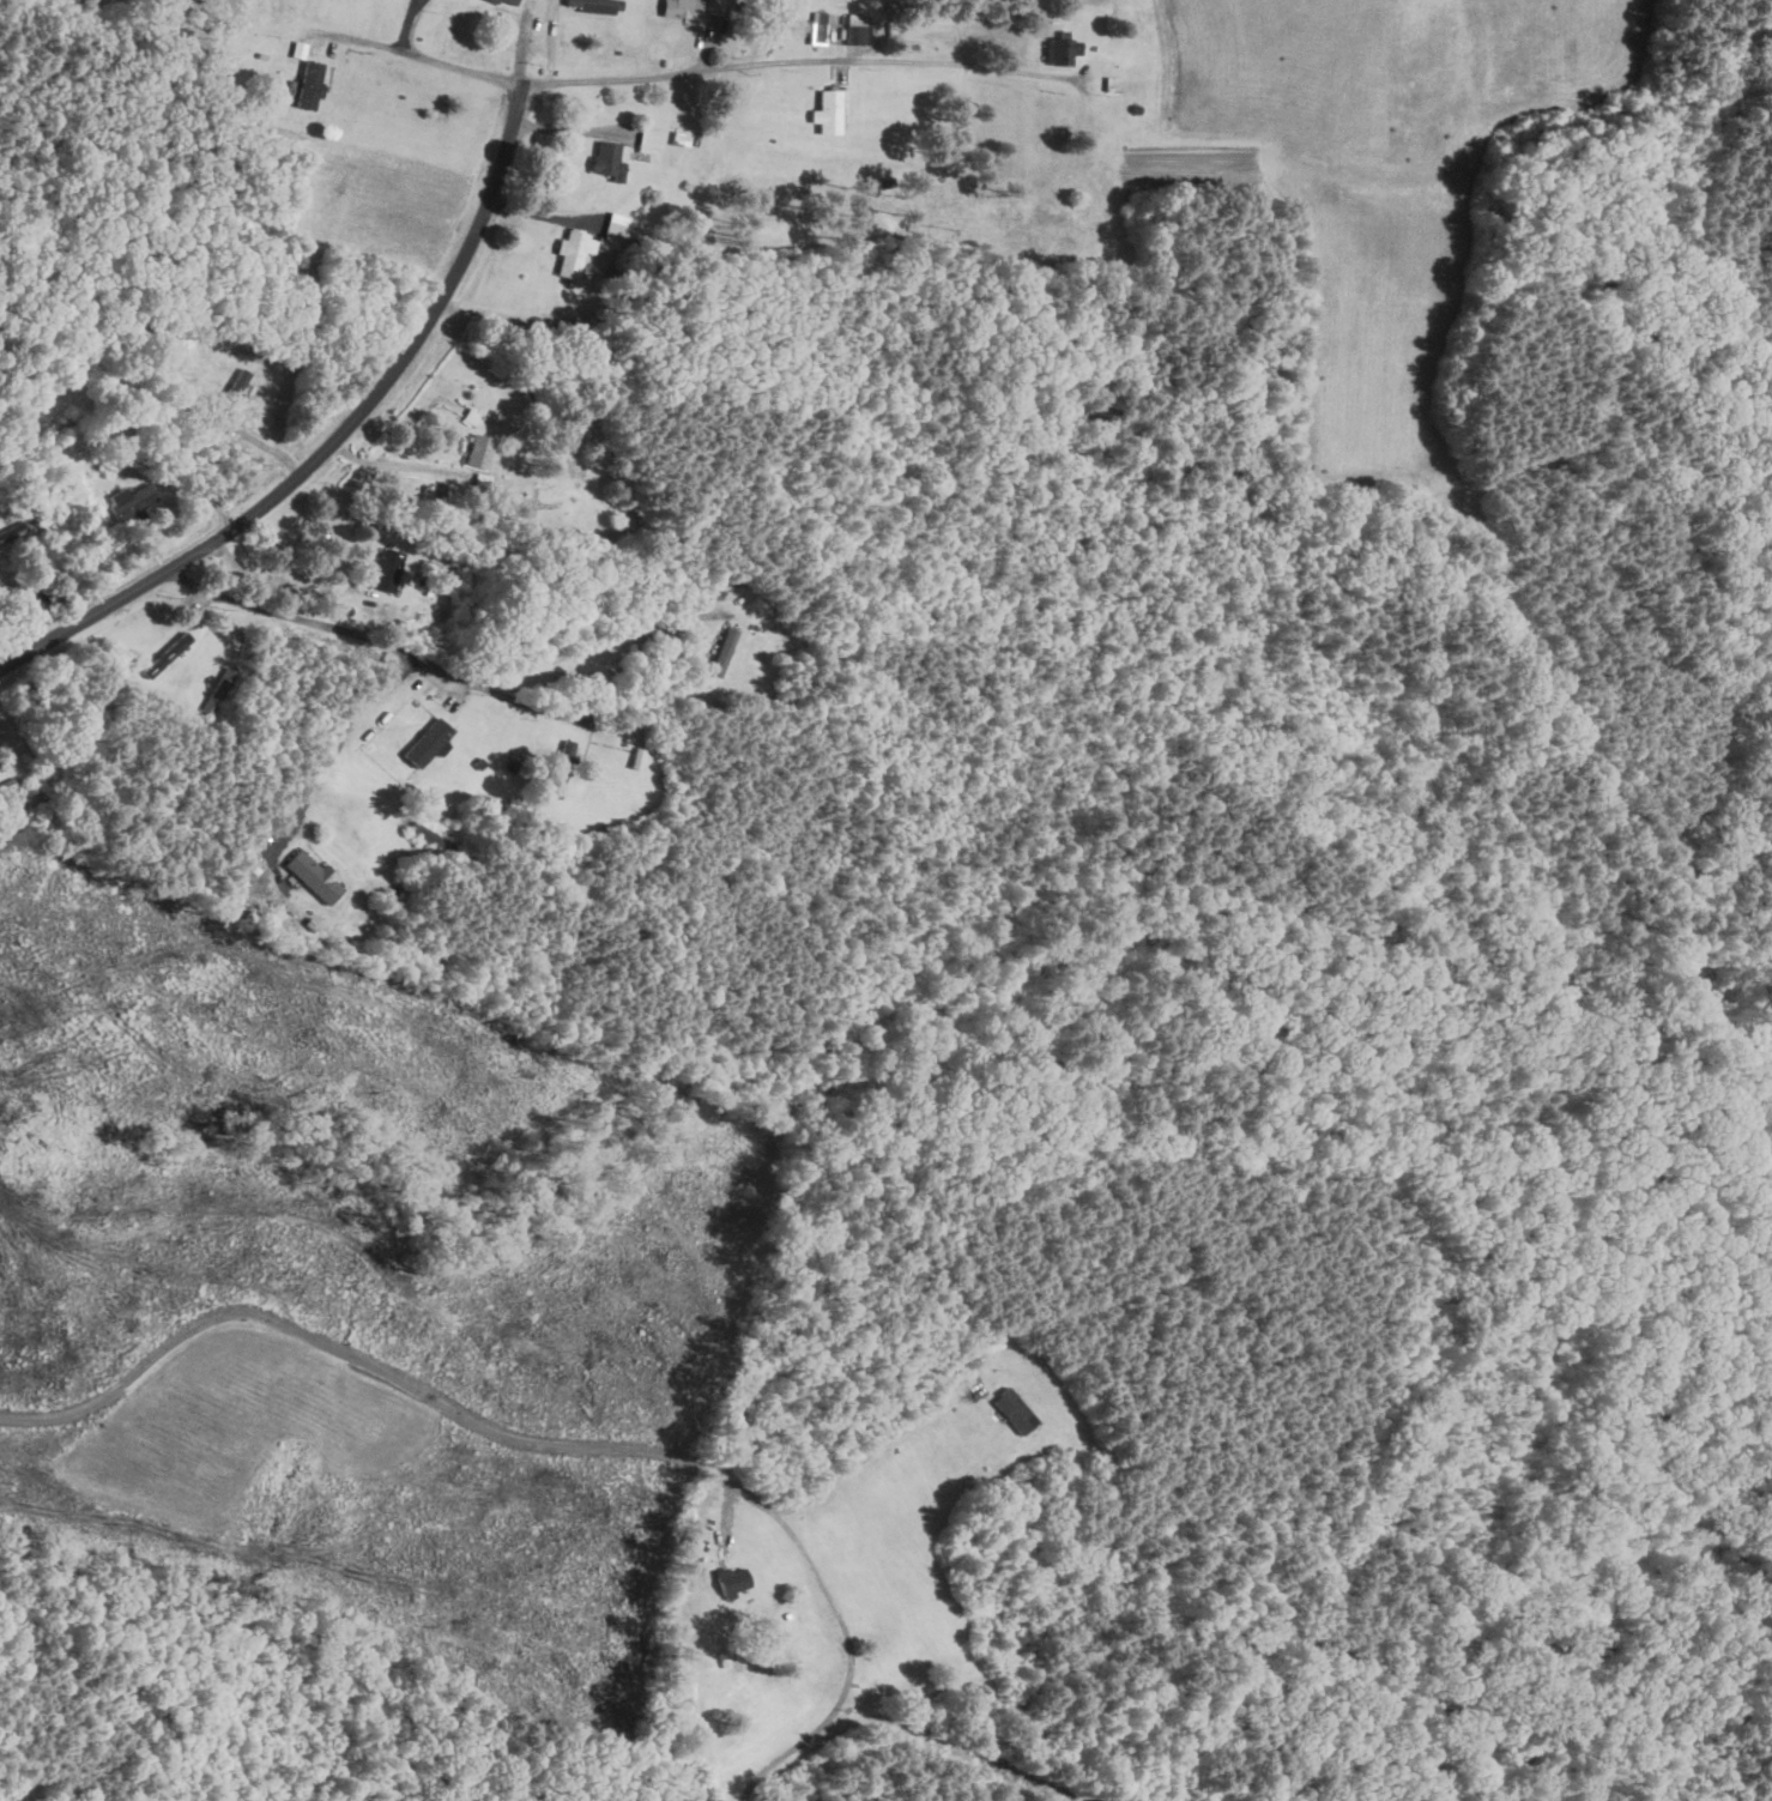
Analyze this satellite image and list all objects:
building: (507, 2)
building: (595, 6)
building: (682, 10)
building: (859, 31)
building: (1063, 53)
road: (607, 80)
building: (310, 85)
building: (829, 113)
road: (571, 131)
building: (649, 141)
building: (610, 159)
building: (616, 234)
building: (573, 256)
building: (56, 433)
road: (334, 439)
building: (480, 452)
building: (131, 502)
building: (13, 534)
building: (389, 570)
road: (285, 616)
building: (725, 652)
building: (170, 653)
road: (552, 658)
building: (174, 701)
road: (340, 736)
building: (429, 757)
building: (563, 770)
building: (314, 878)
building: (1016, 1412)
road: (542, 1440)
road: (869, 1459)
building: (736, 1584)
building: (679, 1773)

